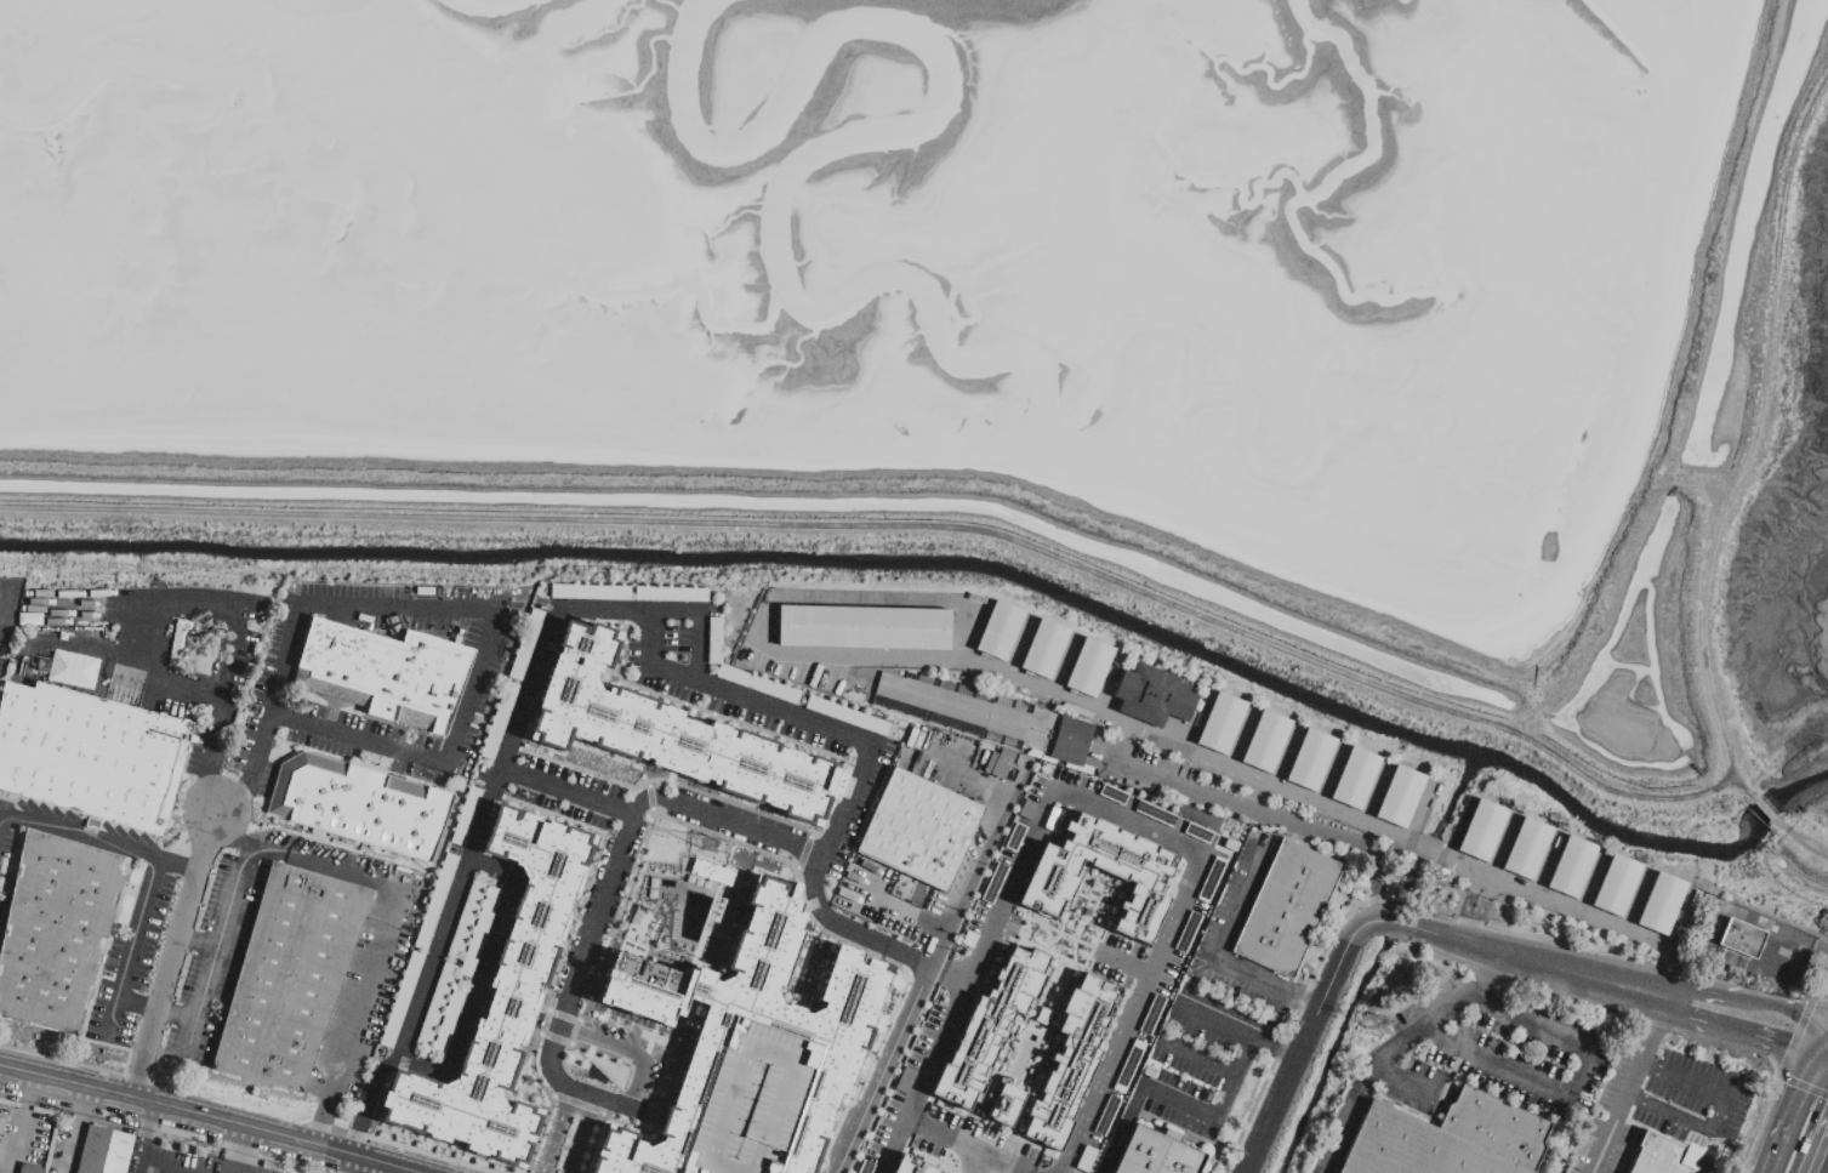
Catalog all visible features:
road: (243, 613)
building: (864, 628)
road: (496, 630)
building: (998, 631)
building: (1043, 650)
parking lot: (6, 653)
road: (101, 654)
power tower: (42, 666)
building: (1088, 668)
building: (386, 673)
parking lot: (278, 674)
building: (1152, 696)
road: (791, 717)
building: (993, 718)
road: (1116, 722)
building: (1220, 723)
building: (667, 733)
building: (1265, 742)
road: (264, 747)
building: (91, 755)
building: (1310, 761)
parking lot: (1141, 768)
road: (1150, 775)
building: (1355, 779)
road: (213, 782)
road: (492, 788)
road: (566, 791)
road: (237, 792)
building: (1400, 797)
building: (363, 807)
road: (1115, 809)
road: (724, 820)
building: (918, 830)
building: (1482, 831)
road: (1316, 832)
road: (992, 837)
power tower: (712, 845)
building: (1526, 849)
road: (158, 859)
road: (181, 865)
building: (1571, 867)
building: (1146, 871)
building: (713, 873)
road: (366, 877)
parking lot: (872, 882)
road: (1477, 883)
building: (1616, 886)
road: (1490, 888)
parking lot: (1241, 896)
parking lot: (160, 898)
building: (1661, 904)
building: (1286, 909)
road: (906, 910)
road: (1463, 918)
road: (1384, 922)
road: (1476, 923)
road: (845, 929)
building: (56, 930)
building: (1741, 939)
road: (1224, 949)
parking lot: (385, 950)
road: (1803, 952)
road: (176, 955)
road: (579, 968)
road: (479, 973)
building: (290, 978)
road: (1515, 981)
road: (1698, 990)
building: (505, 991)
road: (1821, 998)
road: (1310, 1003)
road: (141, 1007)
road: (1779, 1008)
power tower: (1379, 1023)
road: (1531, 1027)
road: (1228, 1029)
road: (1656, 1029)
building: (984, 1032)
road: (1739, 1032)
road: (1794, 1037)
traffic signals: (1783, 1046)
building: (746, 1049)
road: (1399, 1052)
road: (1824, 1053)
road: (1287, 1054)
parking lot: (1491, 1054)
road: (633, 1057)
road: (1824, 1057)
building: (1067, 1058)
road: (1202, 1059)
parking lot: (1206, 1063)
road: (1498, 1065)
road: (884, 1069)
road: (1581, 1076)
road: (1638, 1078)
road: (1689, 1080)
road: (1403, 1083)
road: (1801, 1088)
building: (1002, 1100)
road: (1178, 1100)
parking lot: (1664, 1107)
road: (1795, 1114)
road: (1674, 1115)
road: (1725, 1117)
road: (204, 1121)
road: (17, 1126)
road: (1759, 1126)
road: (552, 1129)
road: (73, 1132)
road: (581, 1135)
road: (1612, 1135)
building: (1448, 1139)
road: (142, 1146)
road: (953, 1148)
road: (1817, 1148)
road: (892, 1150)
building: (103, 1151)
road: (237, 1152)
building: (1155, 1155)
building: (1664, 1158)
road: (993, 1165)
road: (347, 1166)
building: (909, 1166)
building: (29, 1169)
road: (391, 1171)

